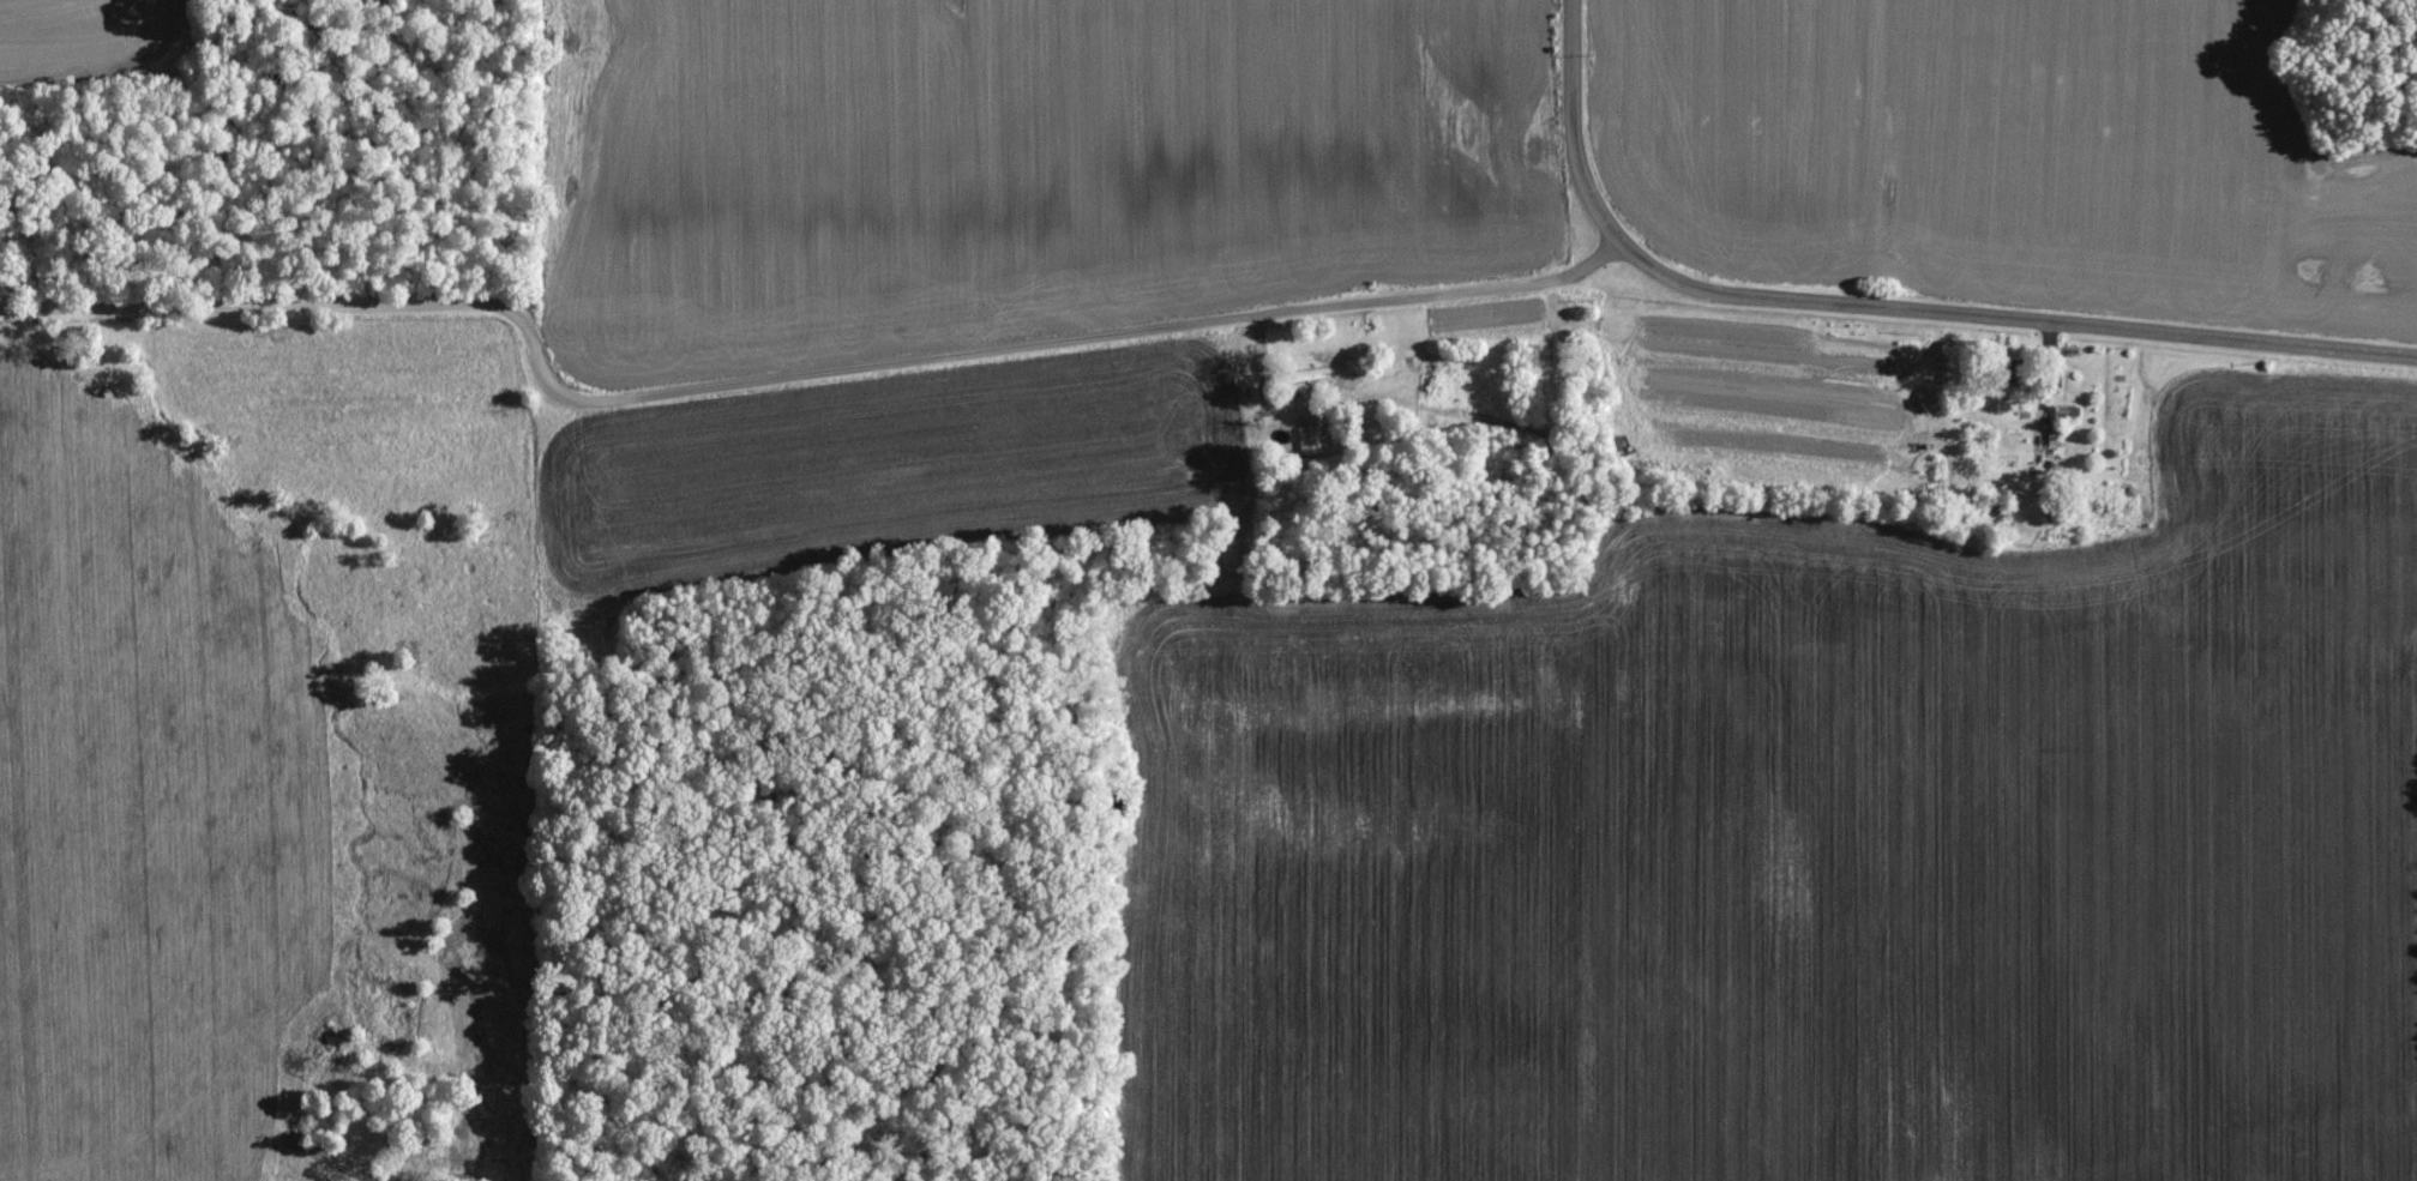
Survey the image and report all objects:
road: (1574, 123)
road: (2007, 318)
road: (789, 374)

